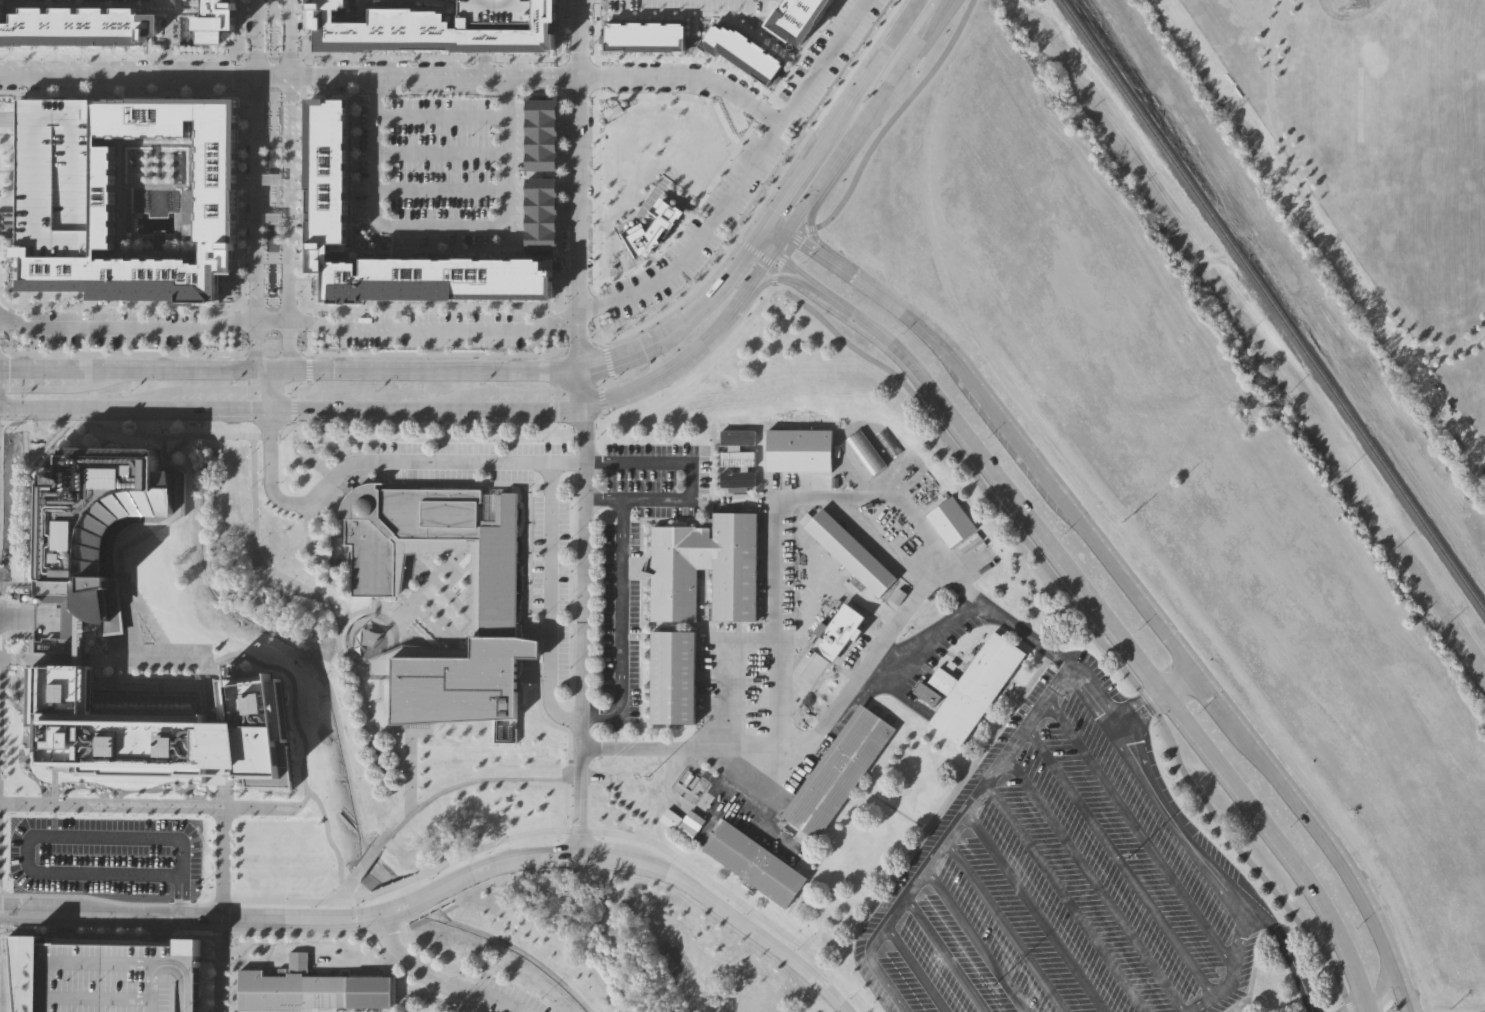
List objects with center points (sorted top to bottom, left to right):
road: (499, 0)
building: (0, 1)
parking lot: (684, 3)
park: (1347, 5)
building: (0, 14)
building: (795, 17)
building: (214, 20)
road: (482, 20)
road: (936, 20)
building: (511, 22)
parking garage: (511, 22)
building: (77, 26)
building: (395, 27)
building: (641, 36)
building: (339, 39)
building: (742, 51)
road: (389, 55)
road: (482, 59)
road: (823, 59)
road: (877, 61)
road: (395, 76)
road: (376, 83)
road: (506, 84)
road: (381, 85)
building: (611, 106)
road: (7, 109)
road: (441, 115)
road: (896, 115)
park: (270, 117)
park: (1424, 126)
building: (541, 135)
road: (854, 136)
park: (661, 142)
road: (441, 153)
road: (726, 155)
road: (577, 157)
road: (255, 160)
road: (289, 160)
park: (1367, 166)
road: (593, 167)
parking lot: (438, 169)
road: (240, 172)
road: (298, 173)
building: (327, 173)
road: (560, 173)
road: (646, 173)
road: (805, 173)
building: (54, 177)
parking lot: (54, 177)
road: (651, 186)
road: (440, 189)
park: (270, 199)
building: (215, 201)
building: (541, 215)
road: (710, 221)
road: (440, 226)
road: (1318, 226)
parking lot: (699, 227)
road: (778, 227)
building: (648, 228)
road: (74, 230)
road: (763, 231)
road: (615, 235)
road: (813, 236)
road: (698, 239)
road: (779, 242)
road: (764, 246)
road: (758, 248)
road: (787, 253)
building: (30, 258)
road: (791, 268)
park: (270, 280)
road: (712, 296)
road: (752, 296)
building: (99, 298)
road: (741, 298)
railway: (1273, 306)
road: (303, 308)
road: (8, 314)
building: (81, 319)
road: (288, 320)
parking lot: (116, 328)
parking lot: (434, 329)
road: (578, 344)
road: (529, 345)
road: (258, 347)
road: (285, 348)
road: (2, 350)
road: (619, 359)
road: (276, 373)
road: (566, 374)
road: (602, 375)
road: (295, 381)
road: (649, 381)
road: (75, 388)
road: (187, 388)
road: (269, 390)
road: (493, 390)
road: (582, 390)
road: (292, 407)
building: (197, 424)
road: (553, 424)
road: (1, 425)
road: (212, 425)
building: (536, 426)
road: (544, 429)
road: (413, 435)
building: (735, 438)
building: (797, 451)
building: (864, 453)
building: (736, 459)
road: (452, 461)
road: (291, 479)
road: (690, 479)
building: (735, 480)
road: (838, 497)
road: (302, 501)
road: (26, 509)
building: (949, 522)
road: (303, 527)
building: (92, 528)
building: (401, 533)
road: (138, 538)
parking lot: (639, 550)
building: (702, 553)
building: (848, 553)
parking lot: (549, 584)
road: (1134, 591)
road: (550, 599)
road: (129, 615)
road: (621, 623)
road: (1090, 626)
road: (598, 628)
road: (580, 629)
road: (1113, 630)
building: (836, 631)
road: (2, 632)
road: (934, 637)
building: (469, 638)
road: (329, 641)
road: (105, 658)
building: (237, 660)
road: (313, 664)
building: (668, 675)
road: (1178, 679)
road: (299, 683)
building: (974, 685)
road: (1052, 689)
building: (928, 693)
road: (1138, 708)
building: (161, 731)
road: (565, 736)
road: (803, 738)
road: (0, 739)
road: (302, 749)
road: (374, 758)
building: (838, 771)
road: (410, 772)
road: (223, 788)
road: (53, 791)
road: (146, 804)
road: (301, 806)
road: (144, 811)
building: (680, 825)
road: (569, 830)
road: (302, 832)
road: (924, 832)
road: (1140, 833)
road: (48, 836)
road: (212, 849)
road: (222, 851)
road: (544, 855)
parking lot: (108, 857)
road: (367, 858)
road: (1119, 861)
road: (261, 864)
building: (753, 864)
parking lot: (1065, 876)
road: (1094, 883)
road: (343, 889)
road: (1064, 897)
road: (111, 900)
road: (101, 907)
road: (1035, 911)
road: (221, 915)
road: (351, 917)
road: (101, 922)
road: (1005, 926)
road: (155, 927)
road: (248, 934)
road: (975, 940)
road: (1288, 952)
road: (946, 954)
road: (1236, 956)
road: (915, 968)
road: (877, 969)
road: (220, 973)
road: (1253, 974)
building: (104, 976)
parking lot: (104, 976)
road: (439, 978)
road: (1383, 978)
building: (306, 989)
parking lot: (503, 998)
road: (1357, 1006)
flagpole: (457, 1007)
flagpole: (450, 1008)
flagpole: (463, 1008)

